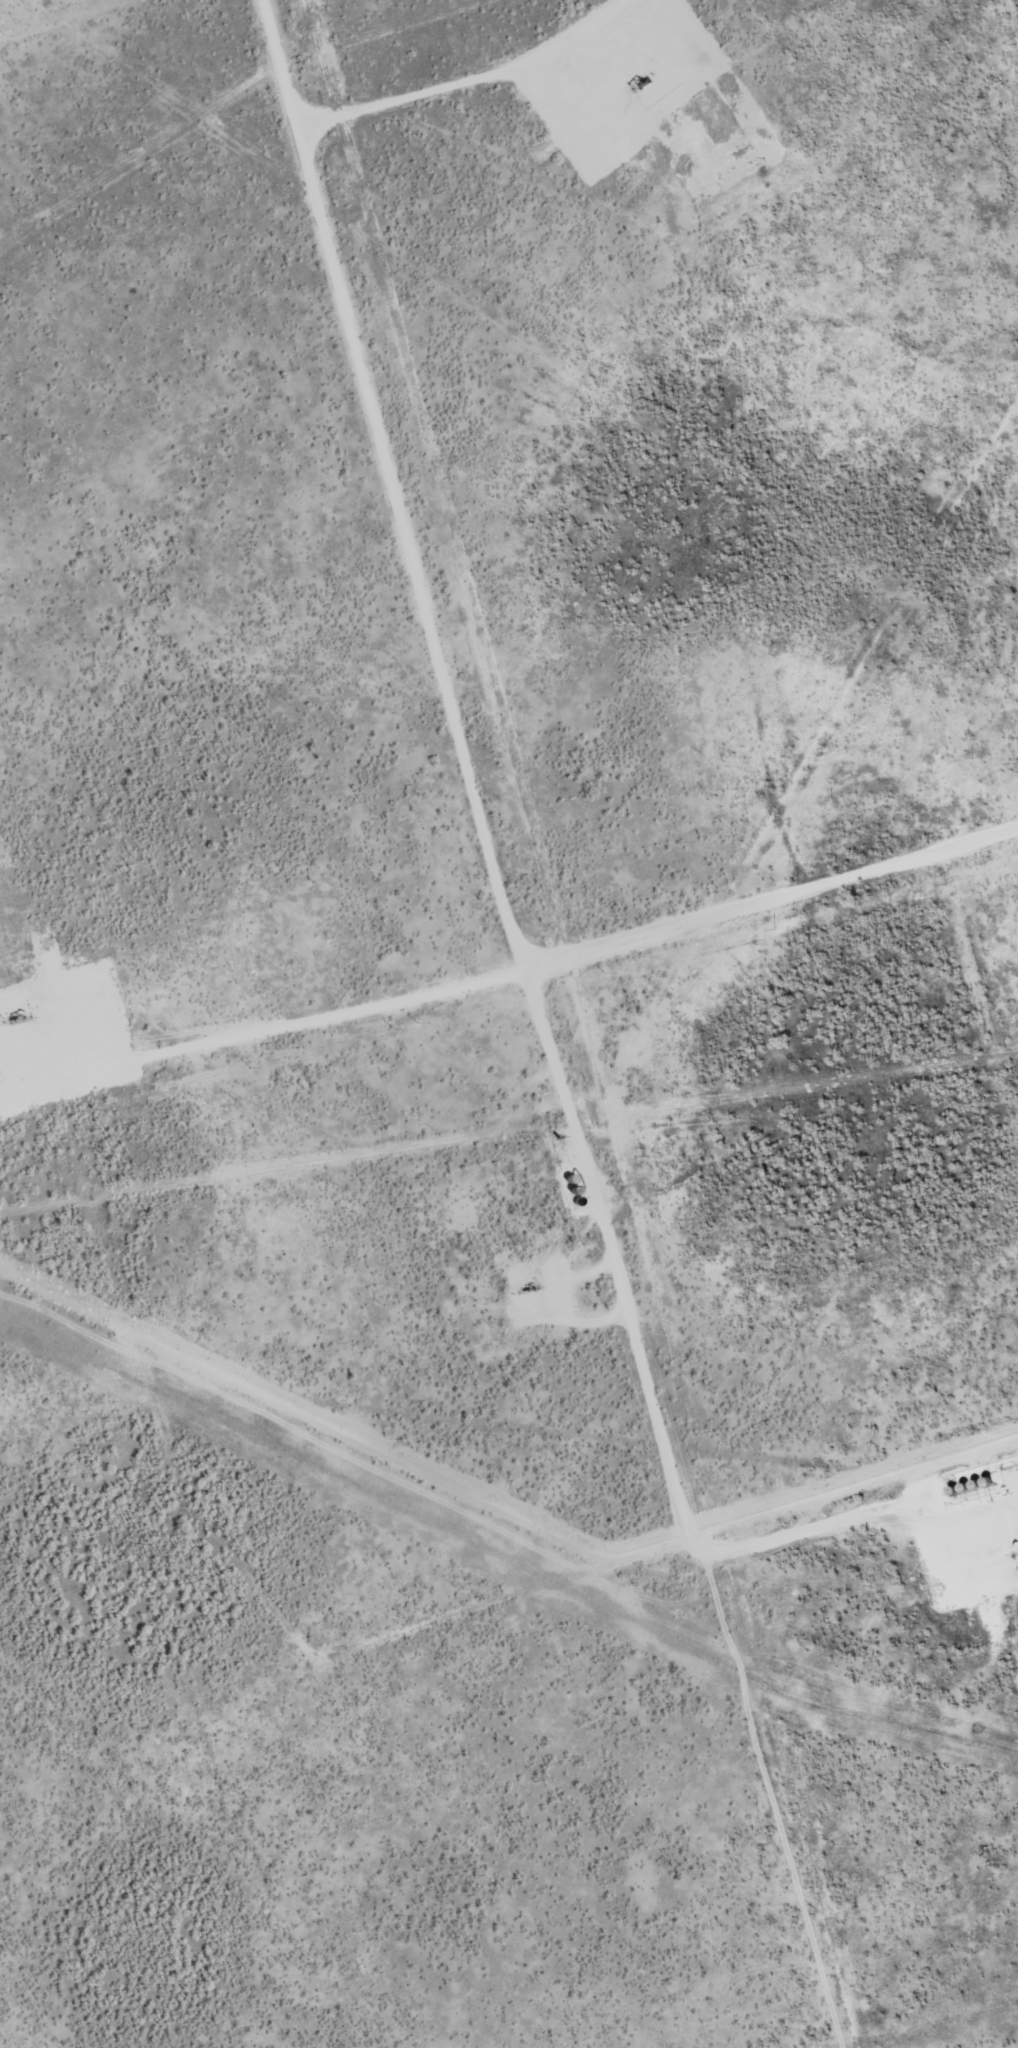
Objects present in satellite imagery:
road: (522, 671)

